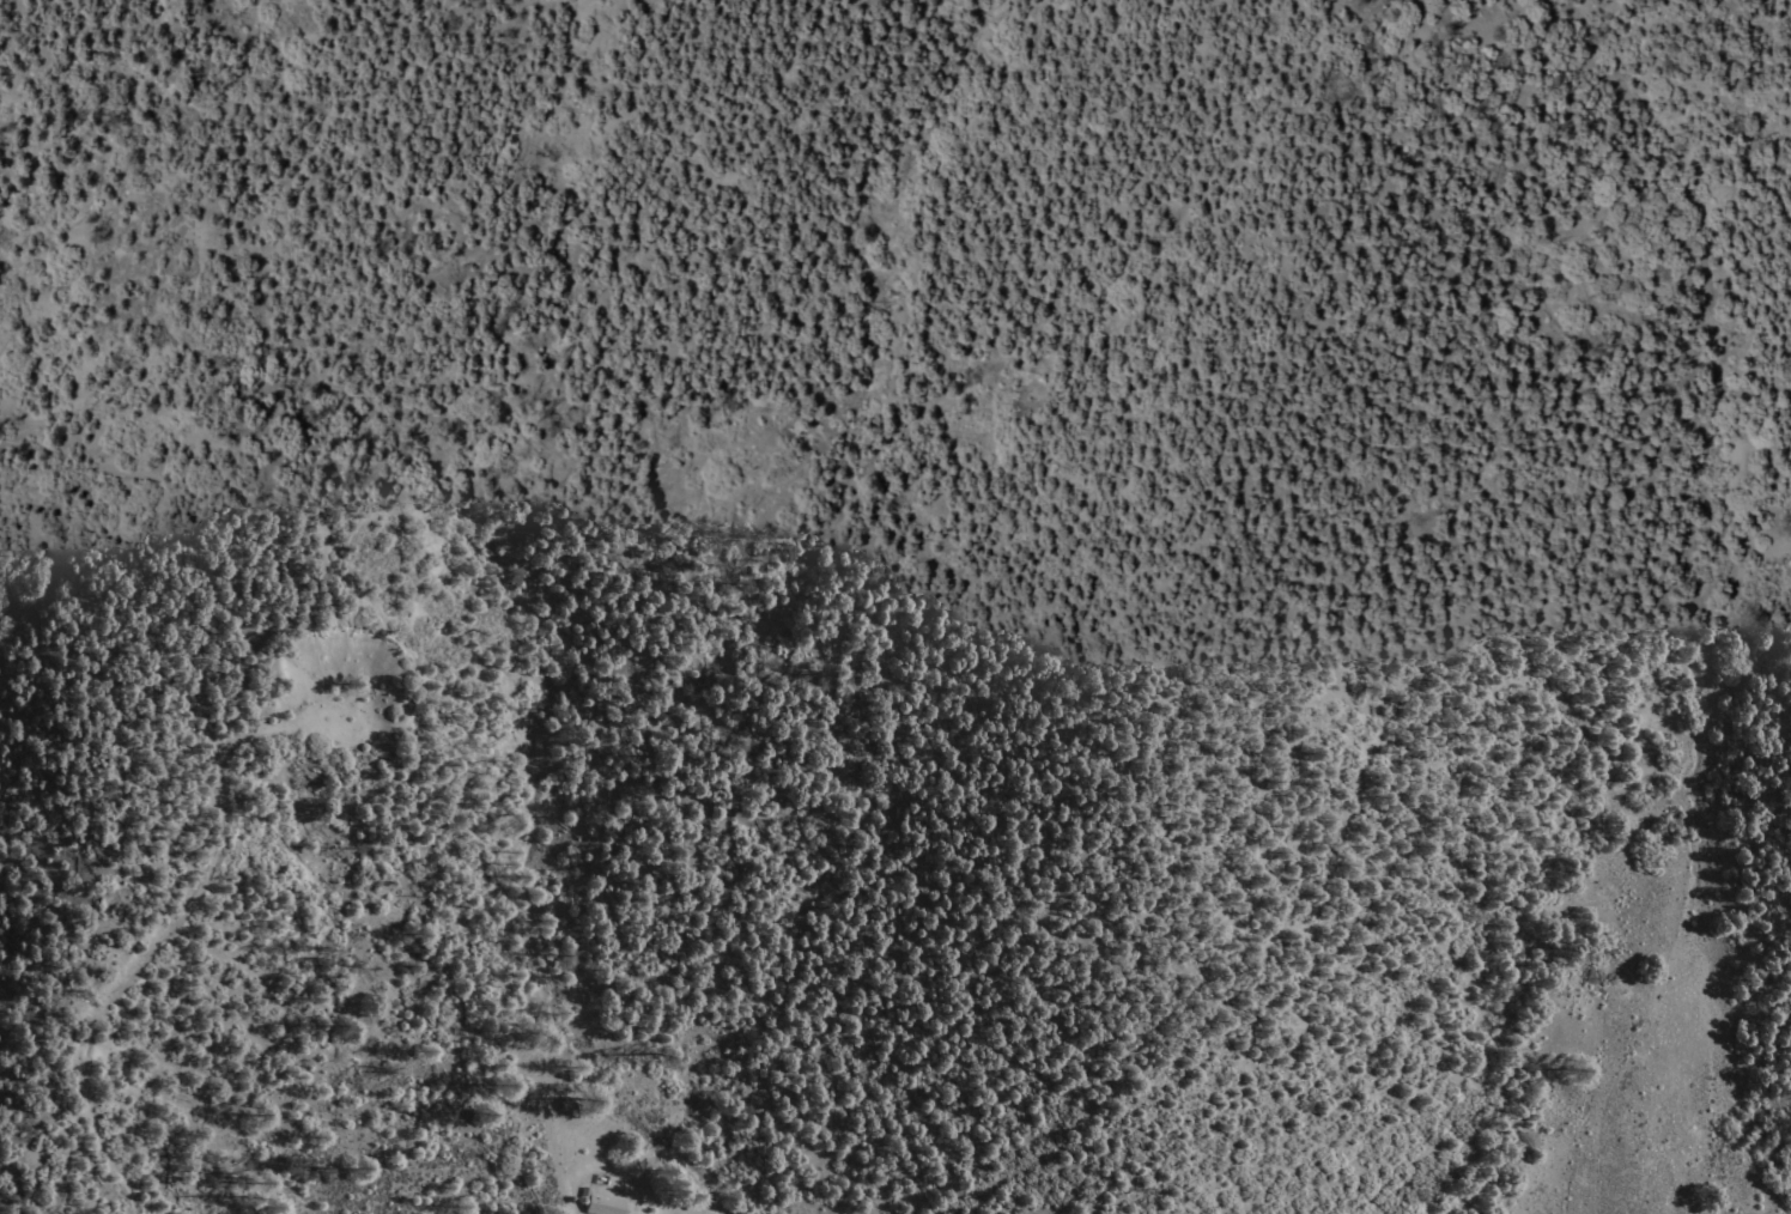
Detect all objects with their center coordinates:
road: (557, 1147)
building: (601, 1203)

